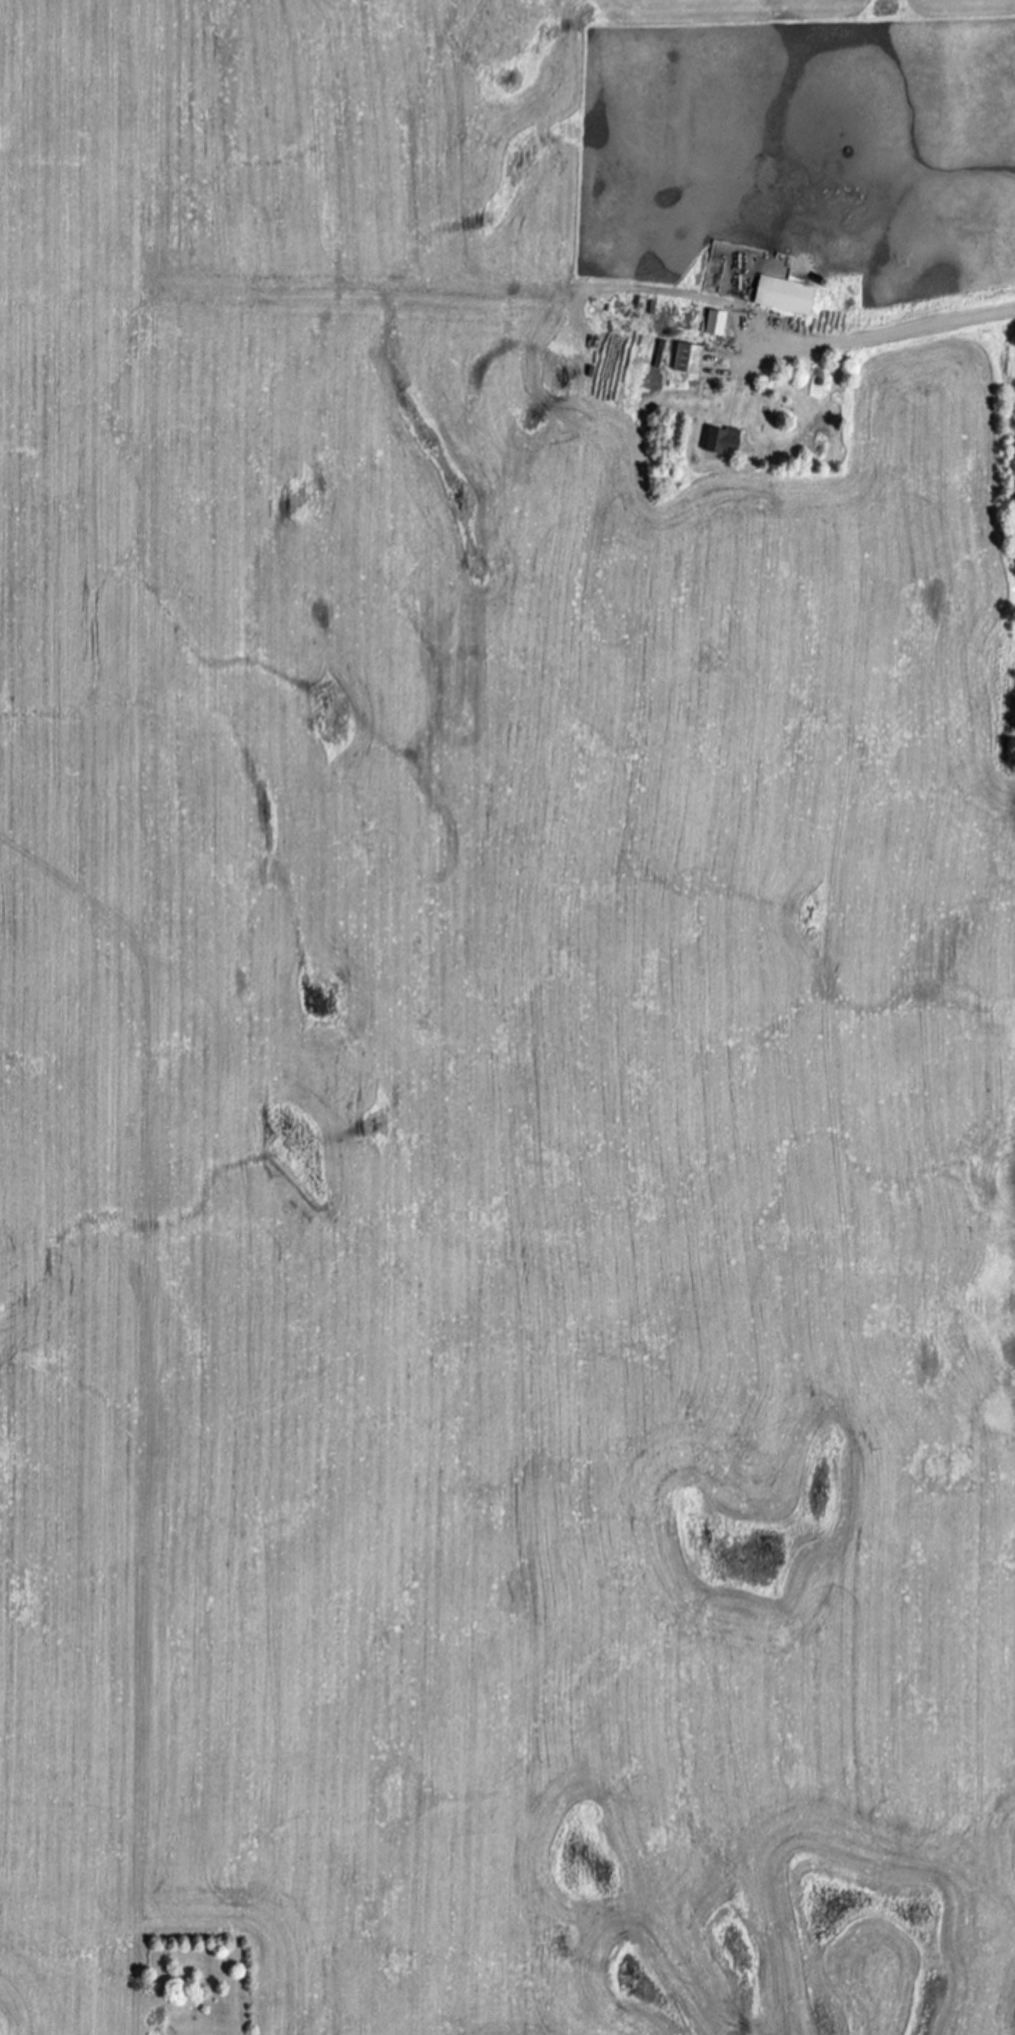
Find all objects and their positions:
building: (784, 294)
building: (715, 322)
road: (930, 323)
building: (687, 358)
building: (721, 441)

